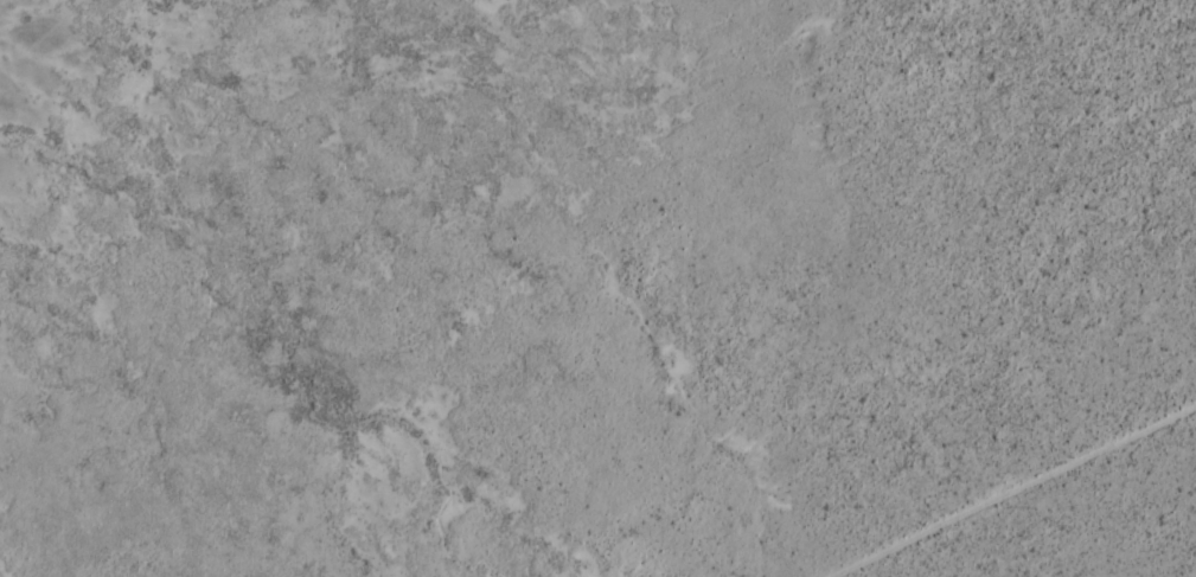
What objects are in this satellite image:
road: (1017, 494)

